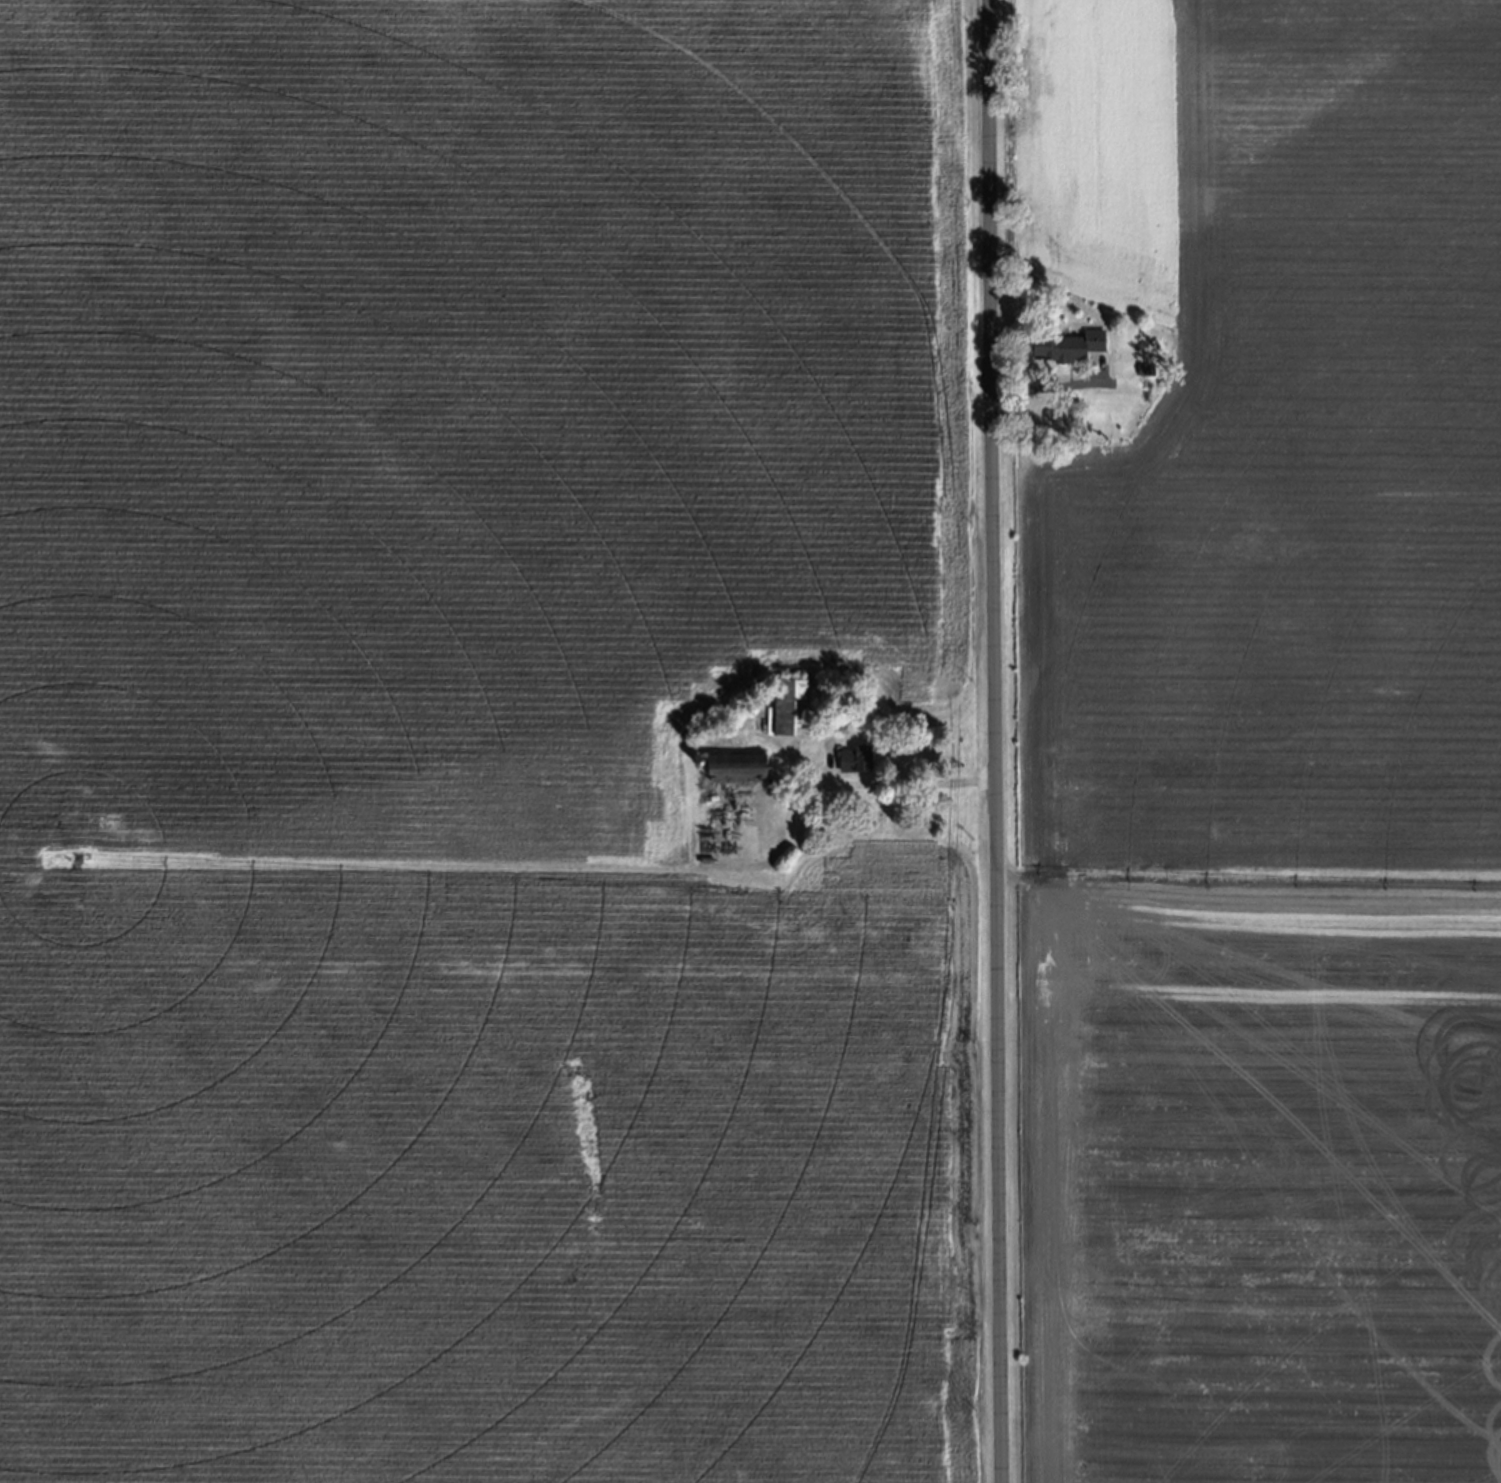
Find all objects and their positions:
building: (1070, 344)
building: (796, 705)
road: (993, 741)
building: (858, 756)
building: (656, 766)
building: (740, 766)
road: (916, 780)
building: (755, 814)

